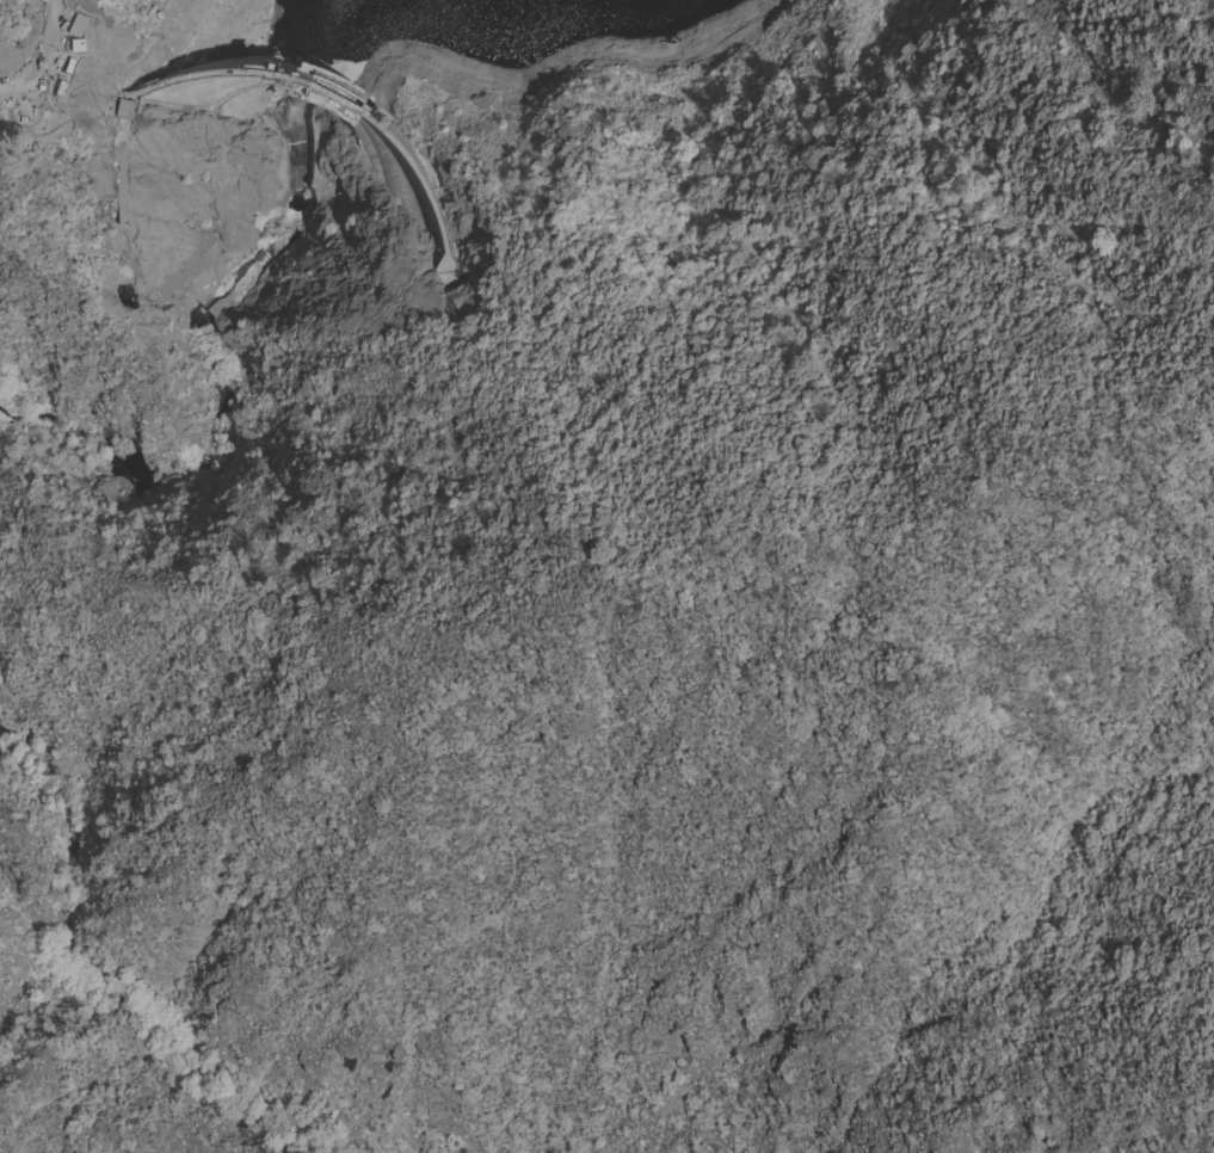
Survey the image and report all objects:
building: (76, 25)
building: (69, 26)
road: (45, 58)
dam: (337, 101)
building: (20, 105)
building: (124, 109)

